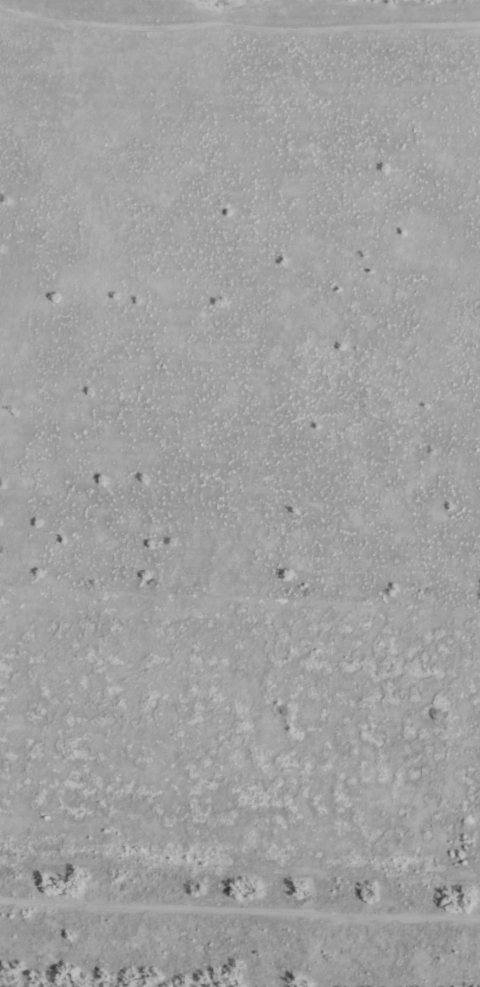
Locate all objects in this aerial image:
road: (271, 382)

